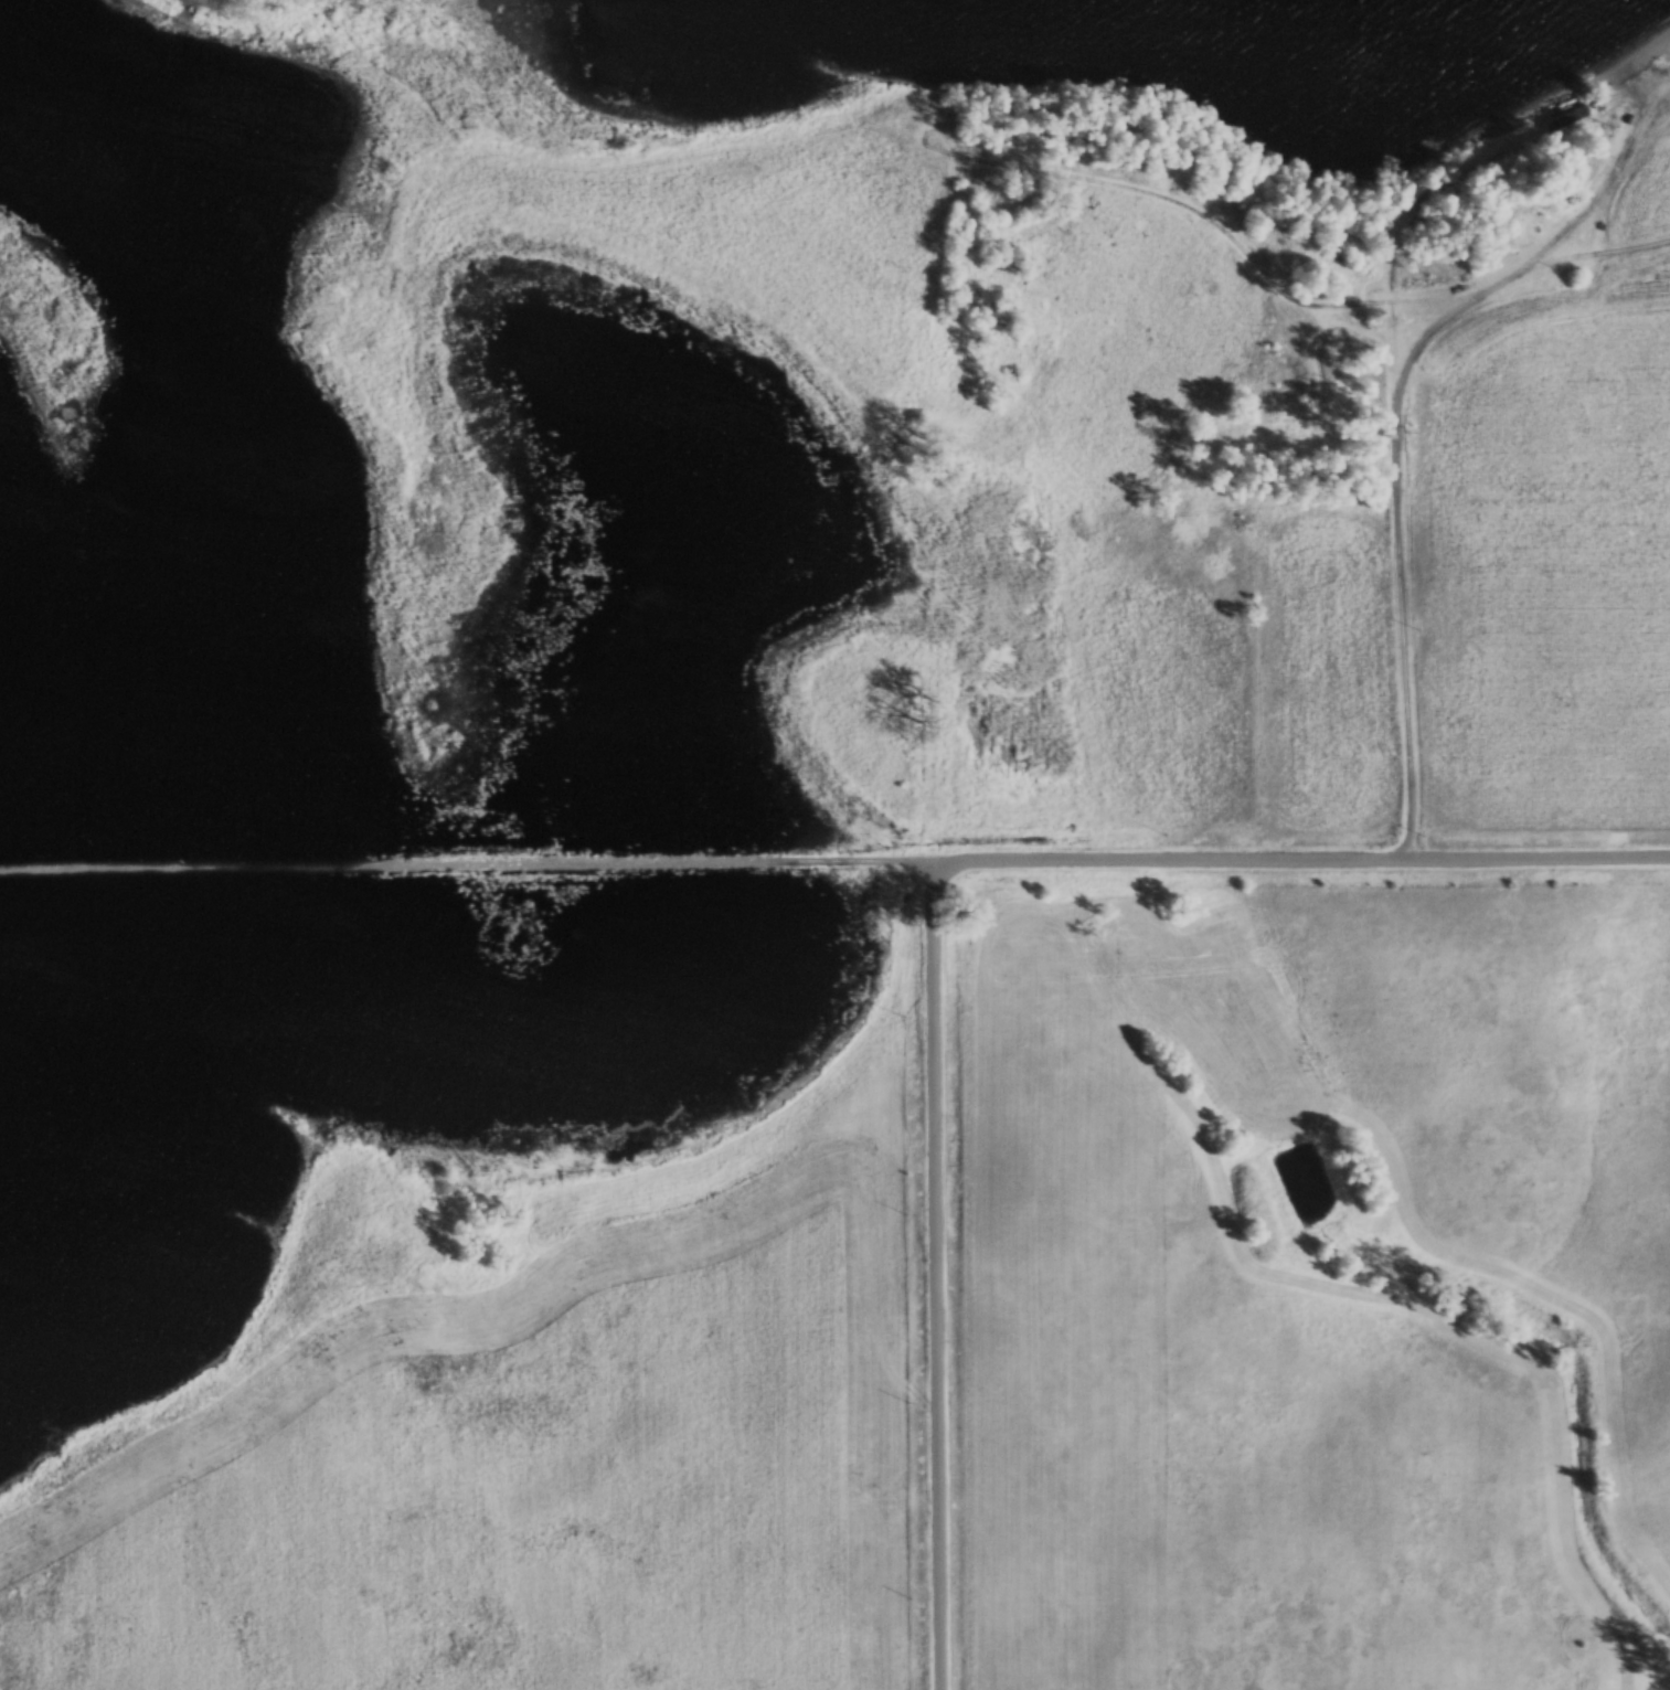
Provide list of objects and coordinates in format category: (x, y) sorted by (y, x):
building: (1566, 114)
road: (1394, 387)
road: (834, 860)
road: (935, 1274)

